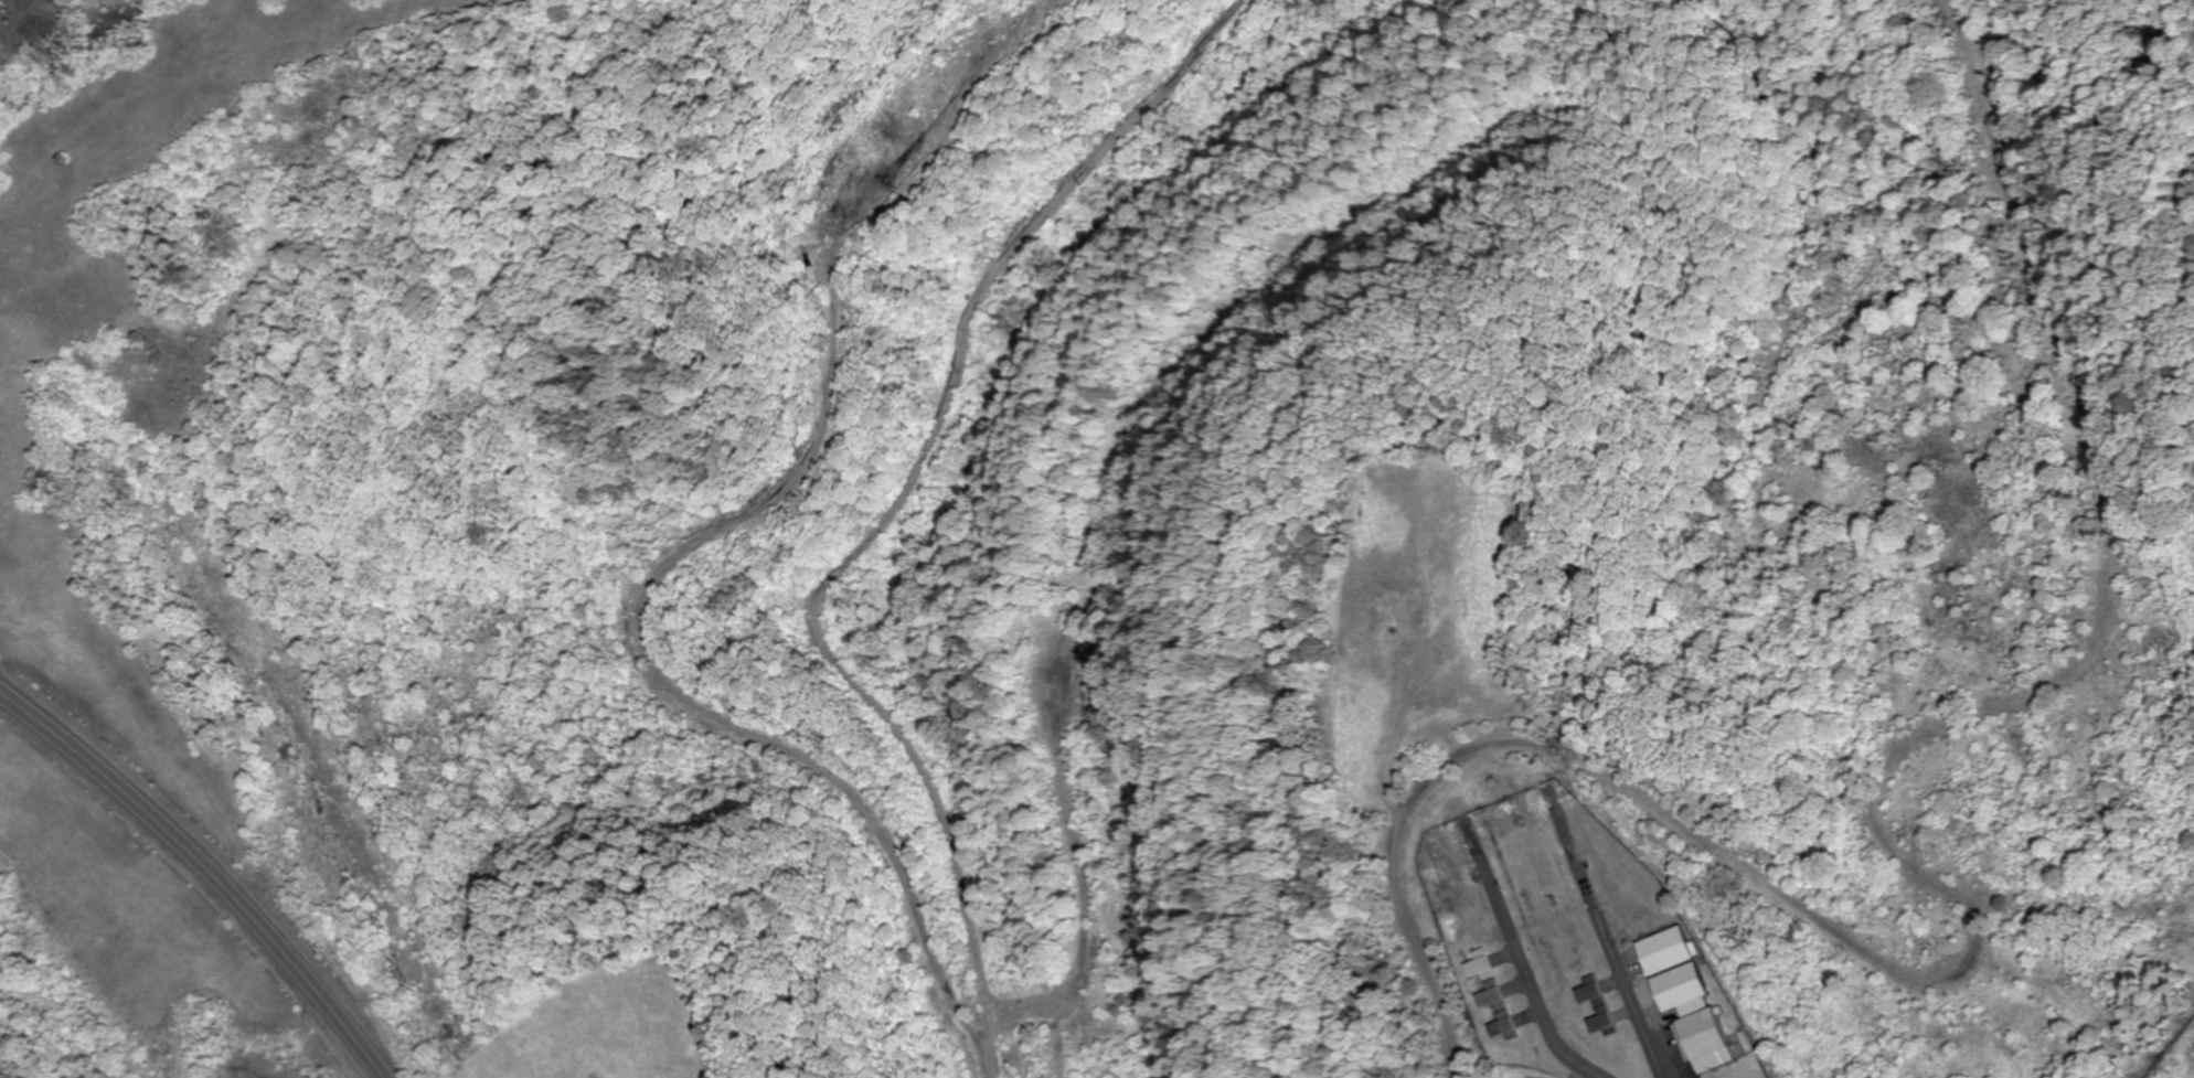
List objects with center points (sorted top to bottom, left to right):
road: (209, 867)
airport: (1576, 948)
airport taxiway: (1619, 959)
airport taxiway: (1524, 969)
building: (1484, 981)
building: (1597, 1007)
building: (1689, 1014)
building: (1503, 1027)
airport: (2177, 1058)

